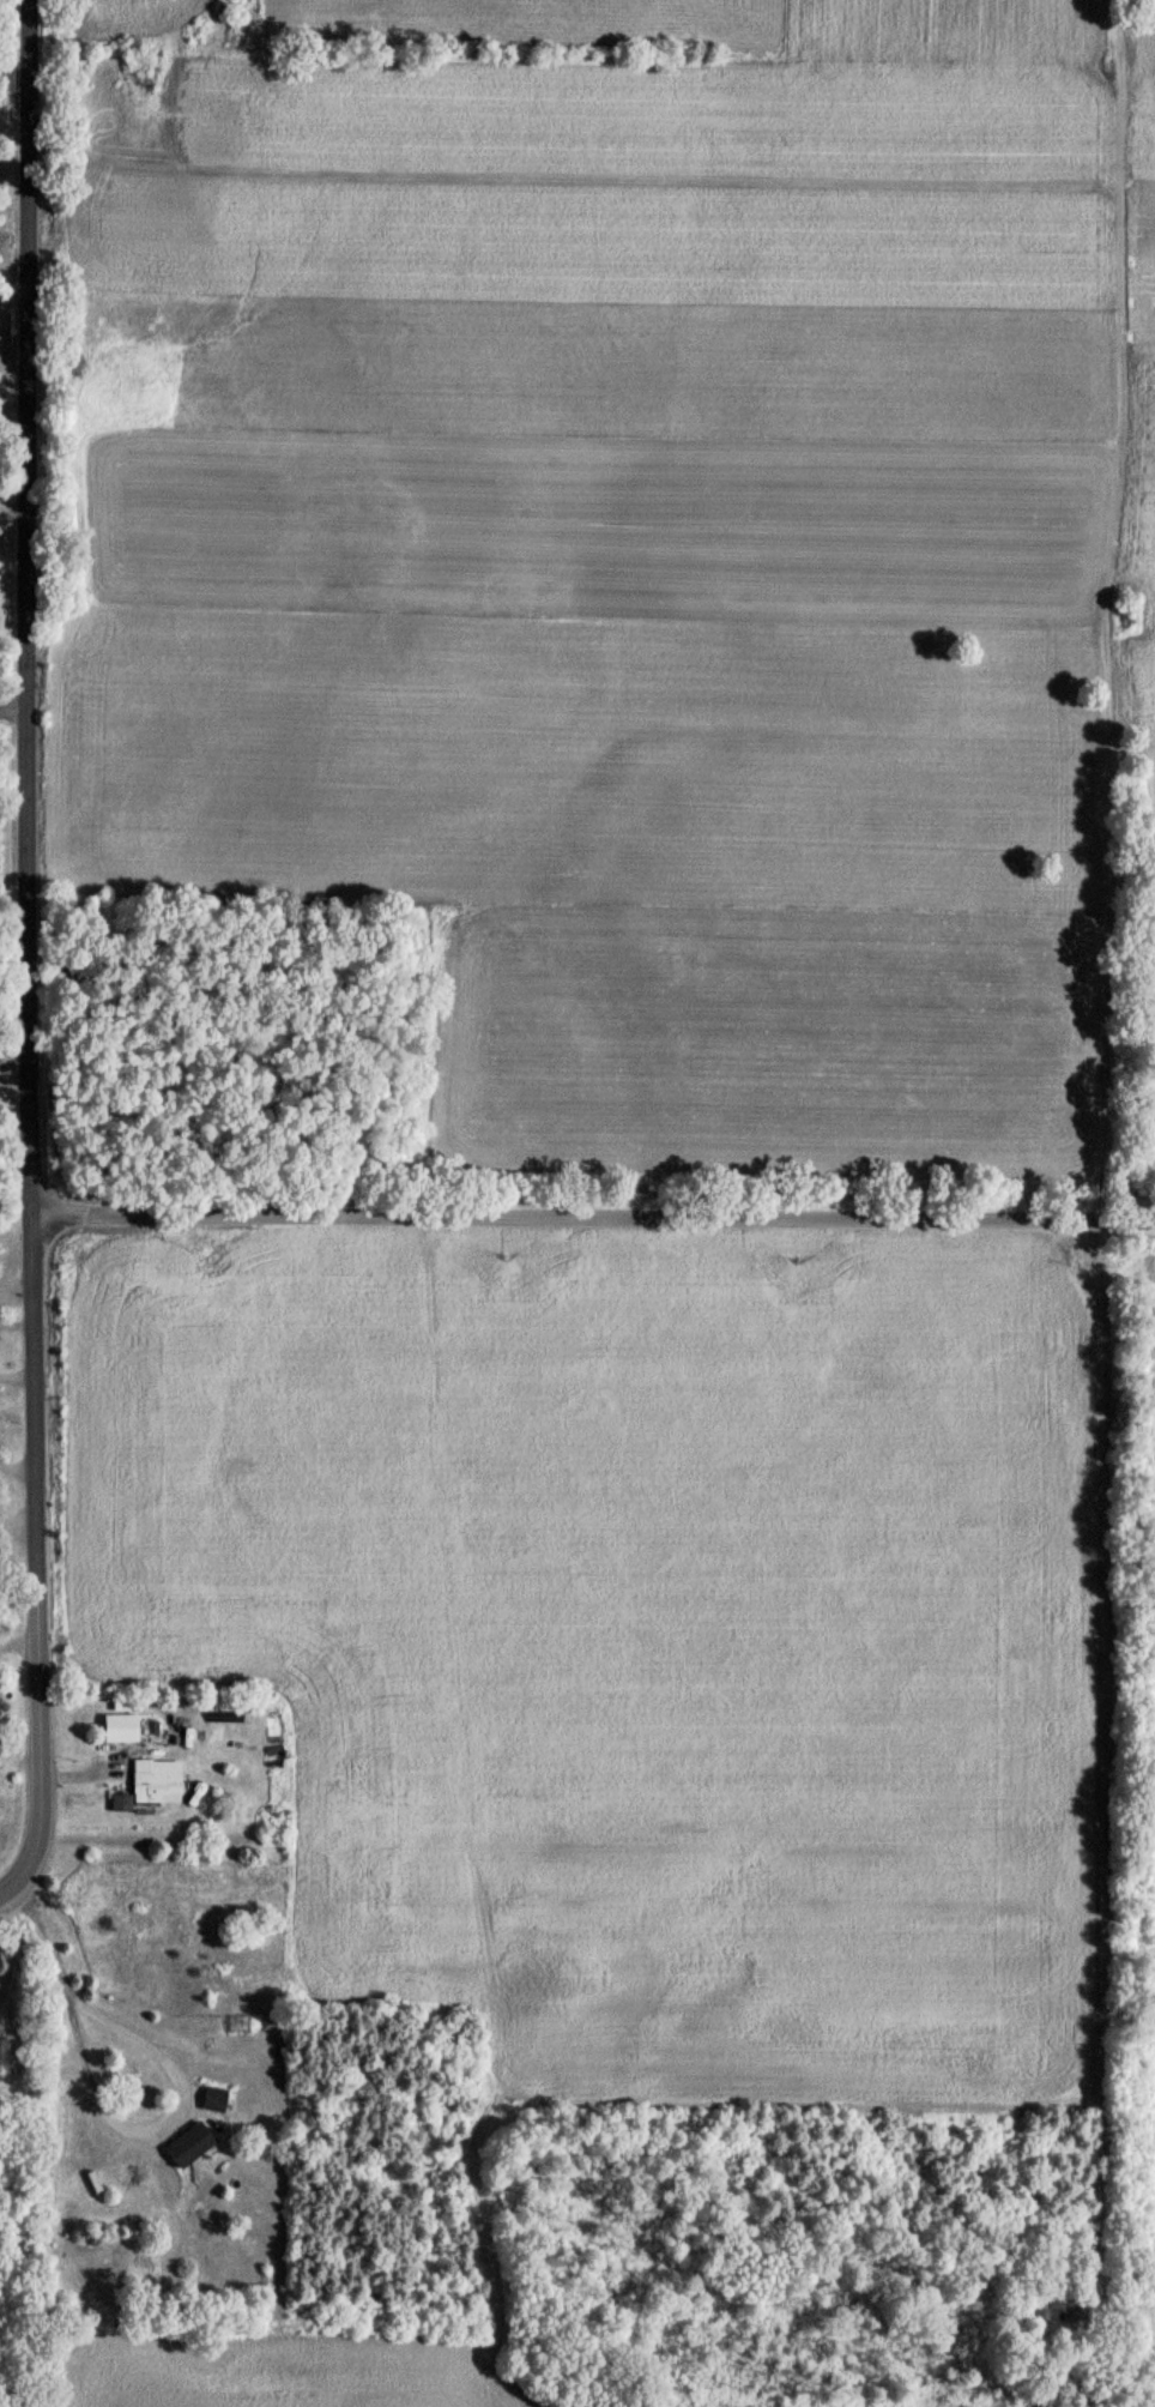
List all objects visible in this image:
road: (13, 511)
road: (28, 607)
road: (14, 711)
road: (14, 1070)
road: (593, 1217)
road: (35, 1566)
building: (119, 1726)
building: (155, 1780)
road: (7, 1942)
building: (238, 2021)
building: (212, 2095)
road: (109, 2119)
building: (187, 2141)

